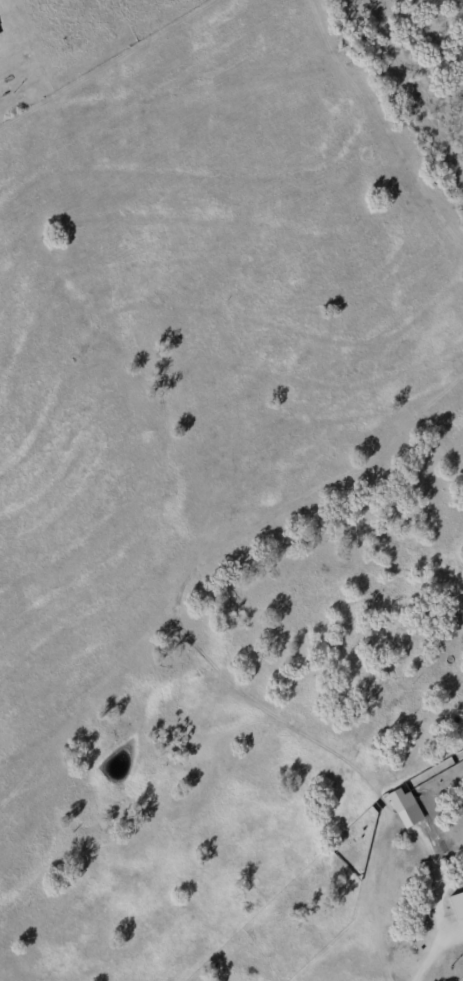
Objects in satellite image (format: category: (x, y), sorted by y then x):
building: (462, 682)
building: (400, 798)
building: (456, 903)
road: (427, 950)

